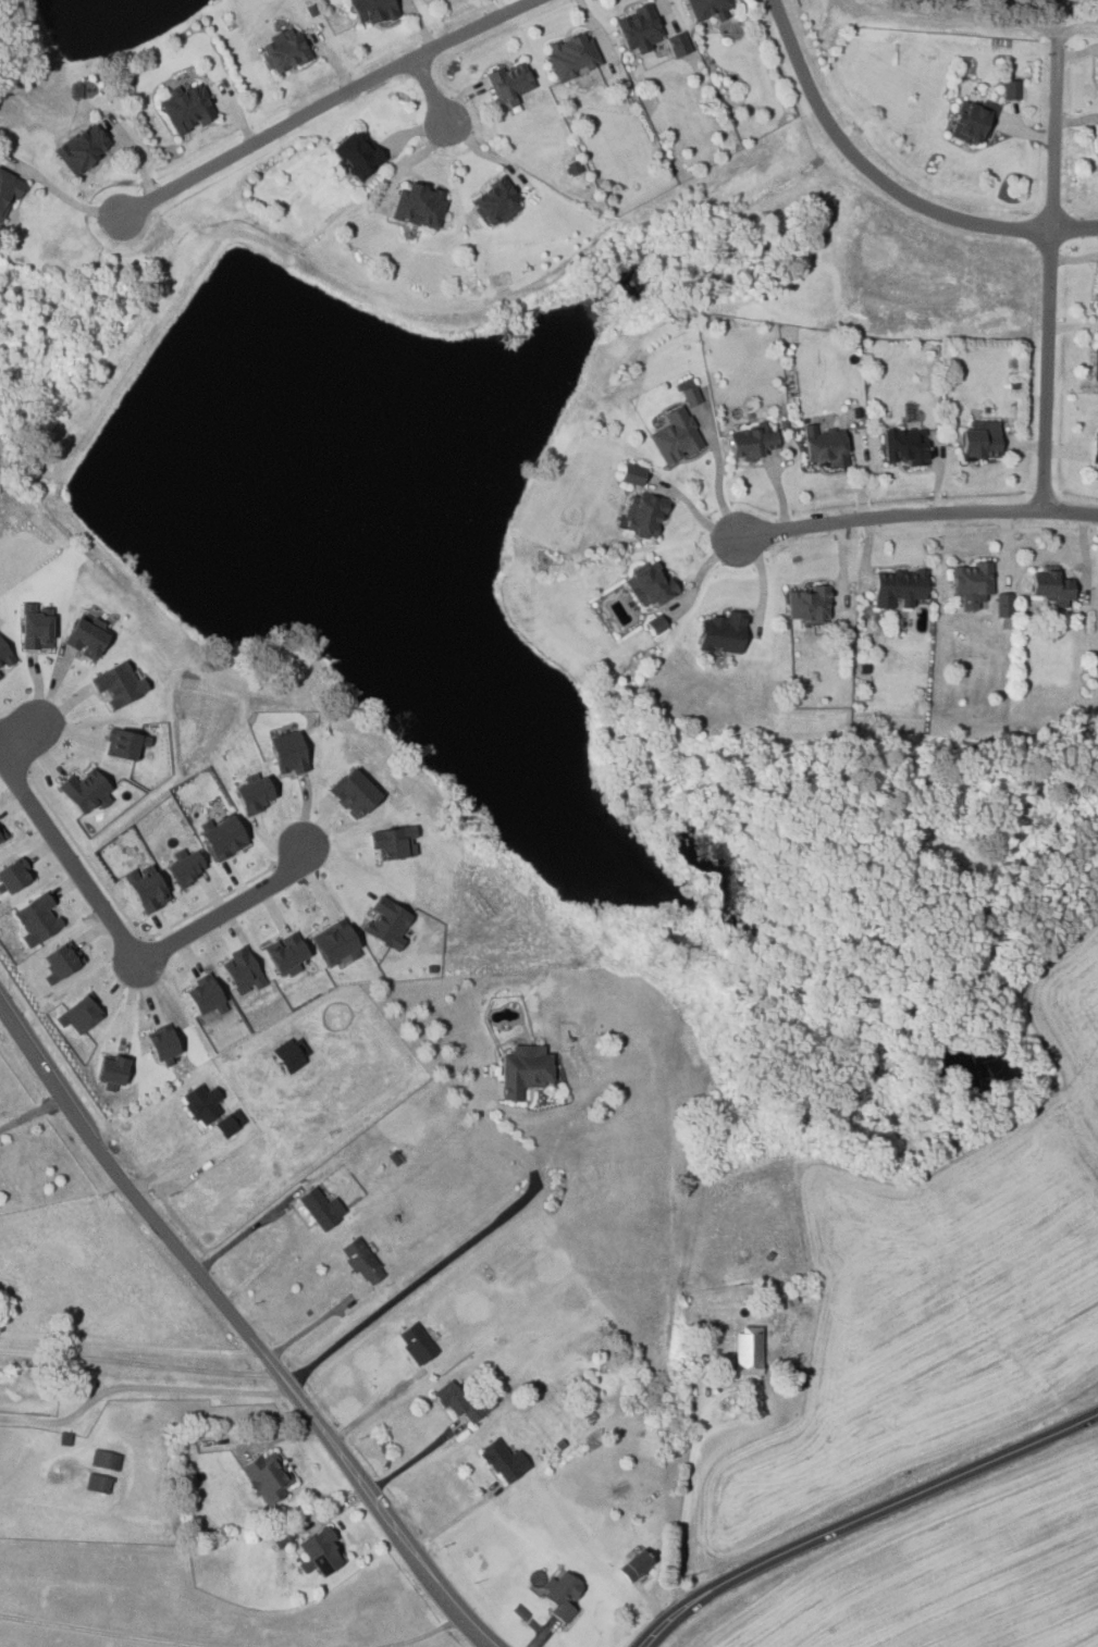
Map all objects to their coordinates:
building: (708, 8)
building: (373, 10)
road: (955, 18)
road: (1072, 28)
building: (640, 29)
building: (678, 44)
building: (284, 50)
building: (571, 57)
building: (1097, 67)
building: (510, 83)
road: (431, 88)
building: (1011, 88)
road: (325, 106)
building: (188, 108)
building: (972, 122)
building: (83, 148)
building: (358, 154)
road: (489, 154)
road: (889, 181)
building: (8, 191)
road: (63, 195)
building: (496, 202)
building: (420, 205)
road: (1051, 280)
building: (1097, 302)
building: (1096, 359)
building: (690, 394)
building: (675, 437)
building: (983, 439)
building: (754, 441)
building: (826, 445)
building: (905, 445)
building: (1096, 449)
road: (718, 471)
building: (632, 474)
road: (693, 509)
road: (918, 512)
building: (644, 516)
building: (972, 583)
building: (652, 585)
building: (900, 585)
building: (1052, 587)
building: (810, 605)
building: (1003, 605)
building: (655, 623)
building: (36, 628)
building: (725, 632)
building: (87, 636)
building: (4, 655)
building: (0, 676)
building: (119, 683)
road: (16, 732)
building: (125, 743)
road: (14, 746)
building: (288, 752)
building: (86, 791)
building: (355, 792)
building: (254, 794)
building: (2, 834)
building: (224, 838)
building: (393, 842)
building: (185, 866)
building: (13, 875)
building: (147, 888)
building: (37, 918)
building: (387, 921)
road: (134, 929)
road: (122, 934)
building: (336, 942)
building: (285, 954)
road: (136, 956)
building: (61, 961)
building: (242, 969)
building: (205, 994)
building: (79, 1013)
road: (50, 1039)
building: (162, 1044)
building: (288, 1056)
building: (526, 1070)
building: (112, 1072)
building: (201, 1104)
road: (32, 1113)
building: (230, 1125)
building: (321, 1208)
road: (240, 1235)
road: (464, 1246)
building: (361, 1260)
crop: (933, 1297)
road: (312, 1326)
road: (239, 1330)
building: (415, 1342)
road: (127, 1347)
building: (748, 1352)
road: (136, 1362)
road: (138, 1386)
building: (460, 1402)
road: (374, 1408)
building: (104, 1460)
building: (504, 1460)
road: (408, 1462)
building: (267, 1476)
building: (97, 1483)
road: (686, 1497)
road: (861, 1516)
road: (452, 1520)
building: (320, 1551)
building: (636, 1563)
crop: (949, 1575)
building: (562, 1594)
road: (103, 1632)
road: (422, 1635)

